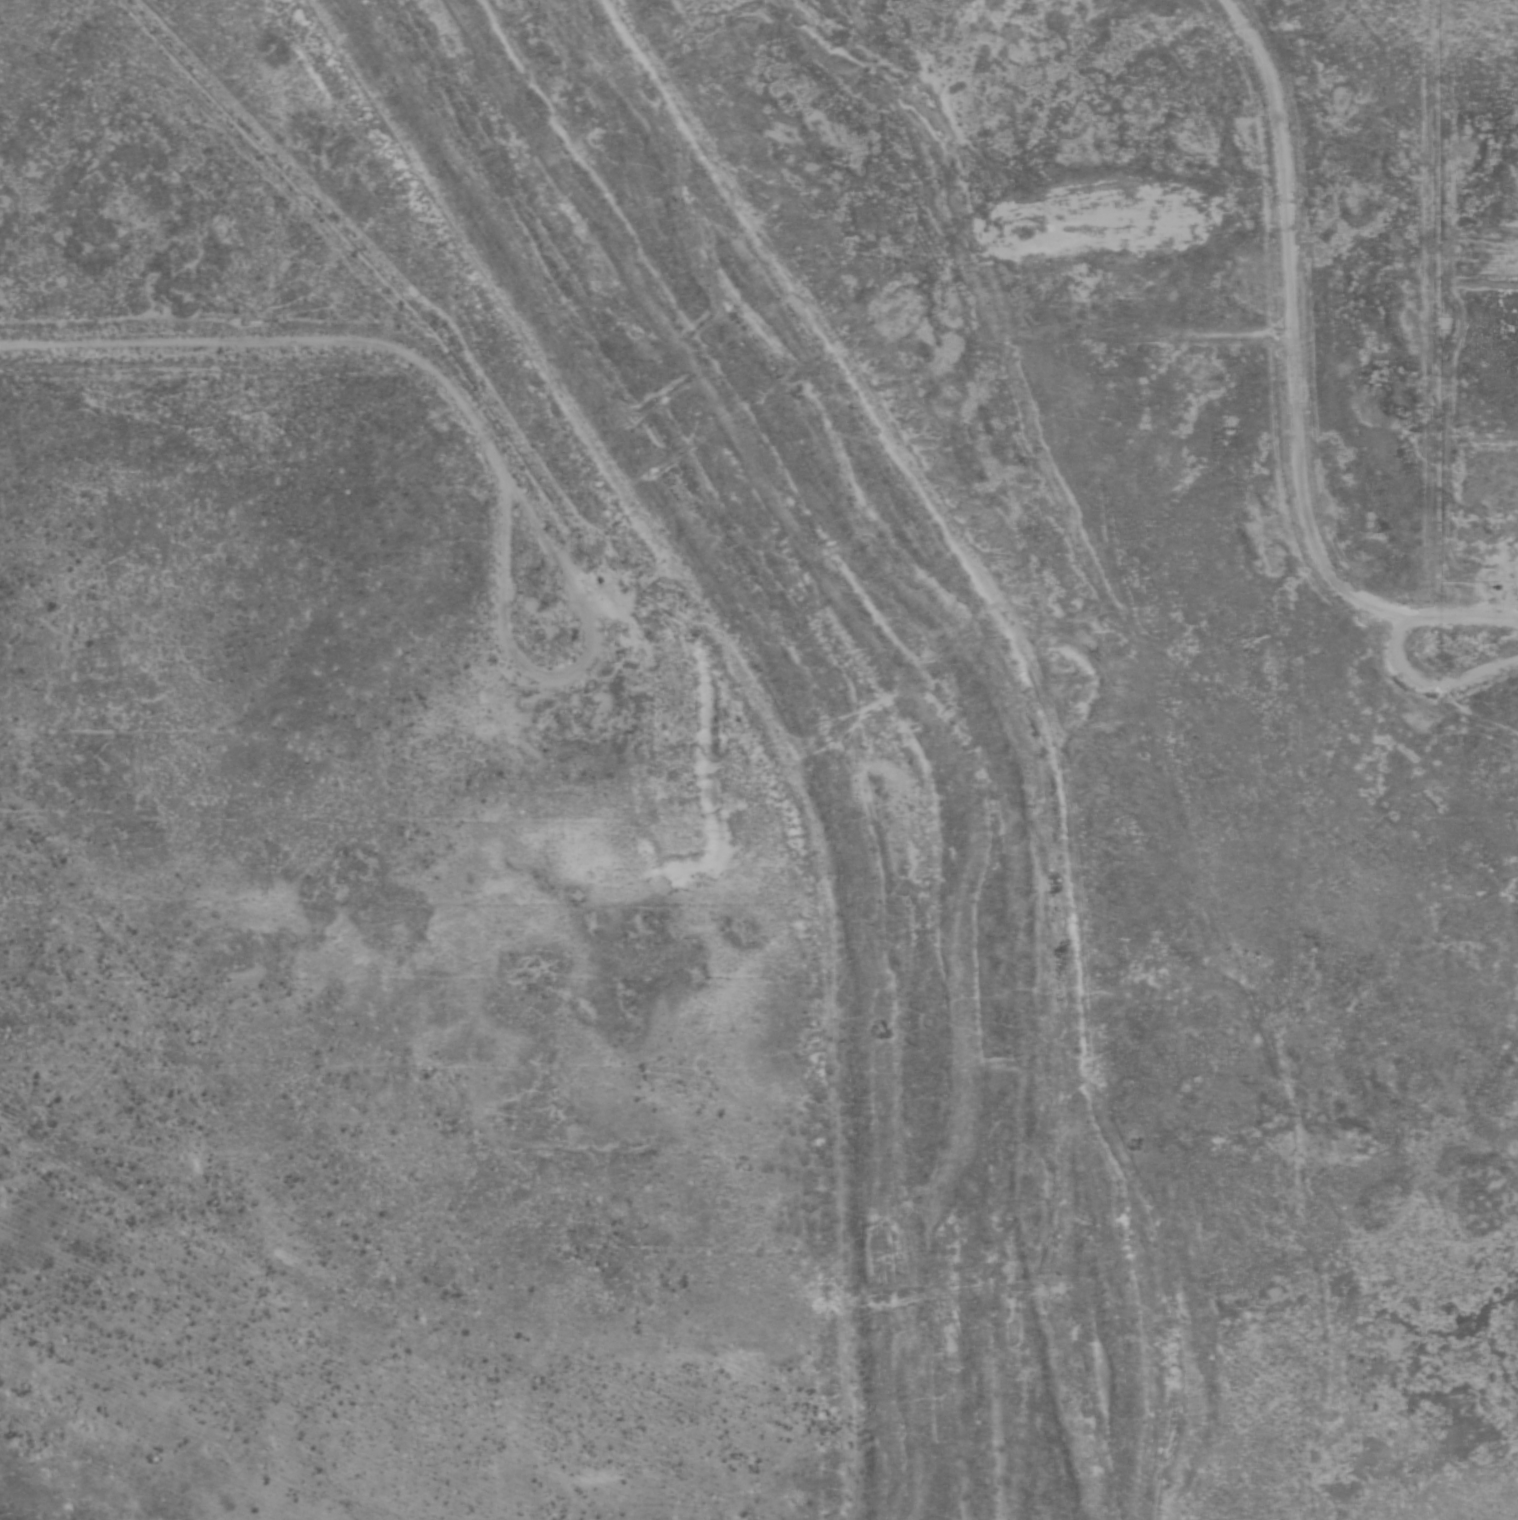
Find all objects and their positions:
road: (351, 349)
road: (1391, 653)
road: (1055, 701)
road: (687, 702)
road: (582, 721)

